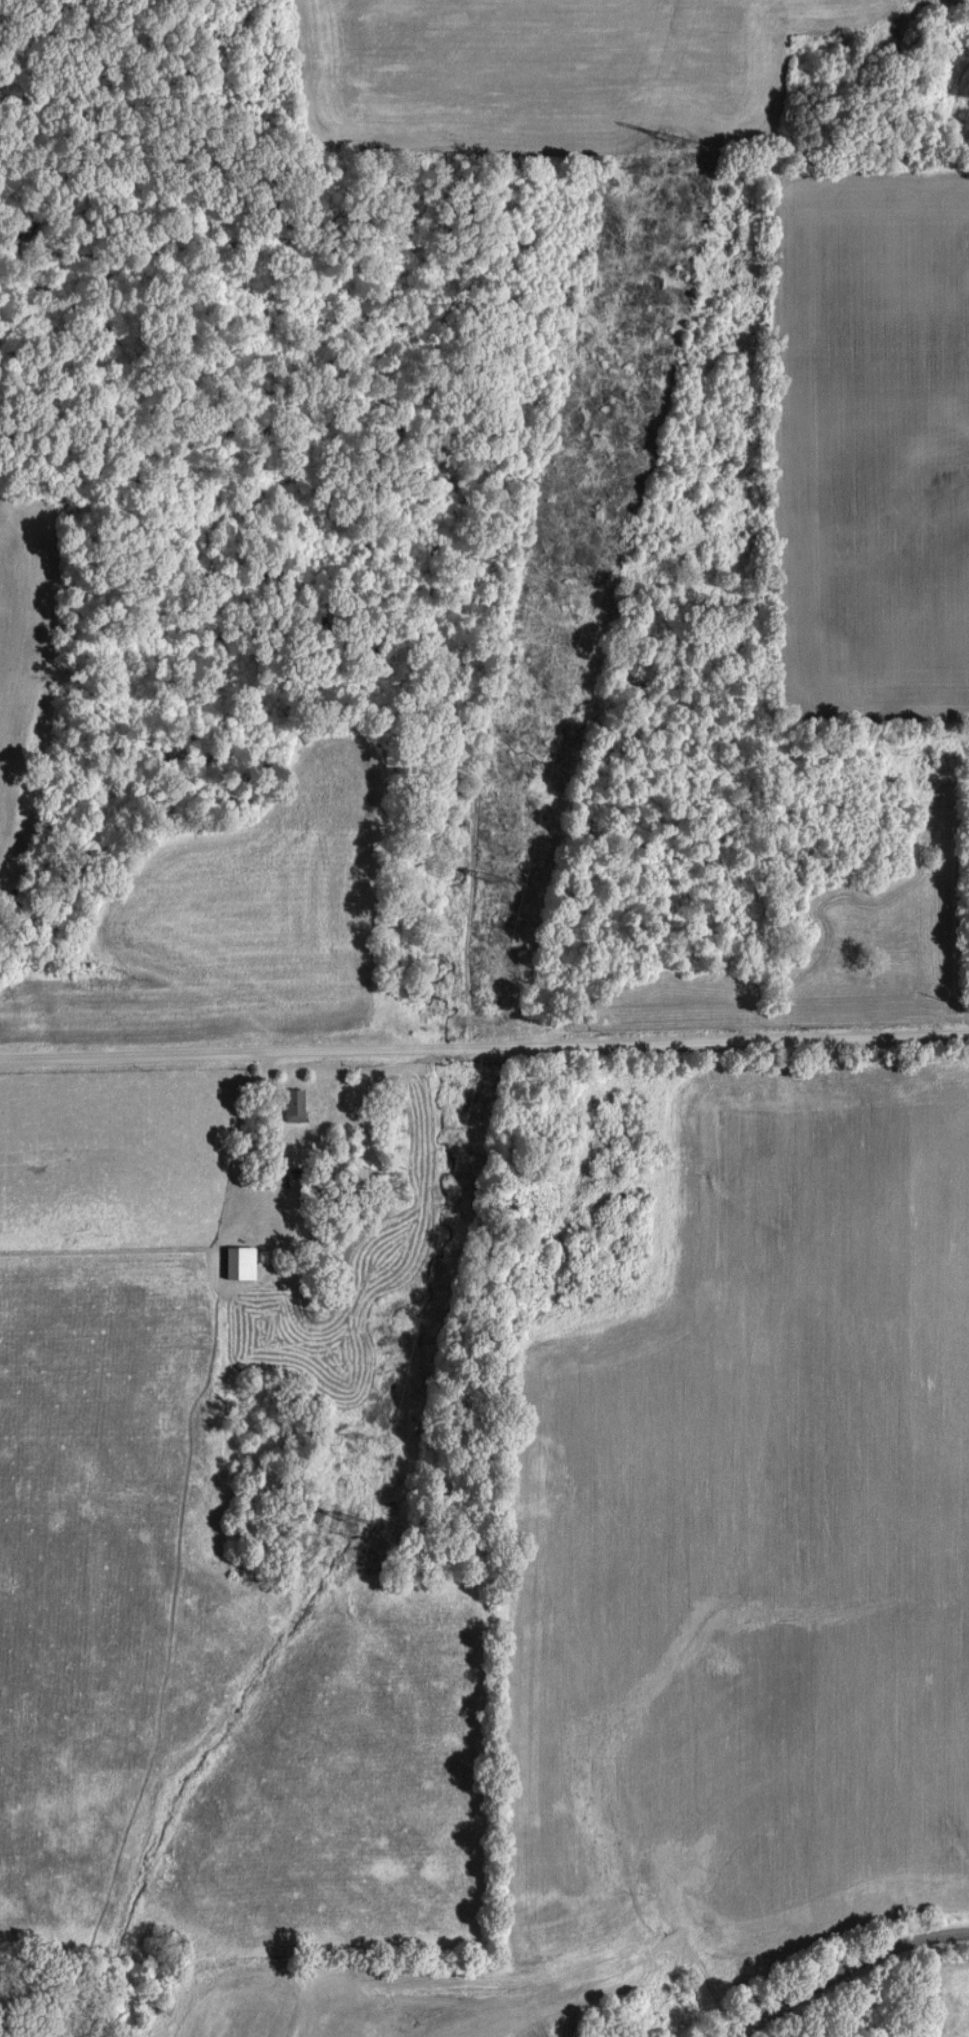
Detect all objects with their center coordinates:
power tower: (671, 138)
power tower: (497, 877)
road: (484, 1057)
building: (292, 1103)
building: (237, 1262)
power tower: (342, 1522)
road: (849, 1967)

